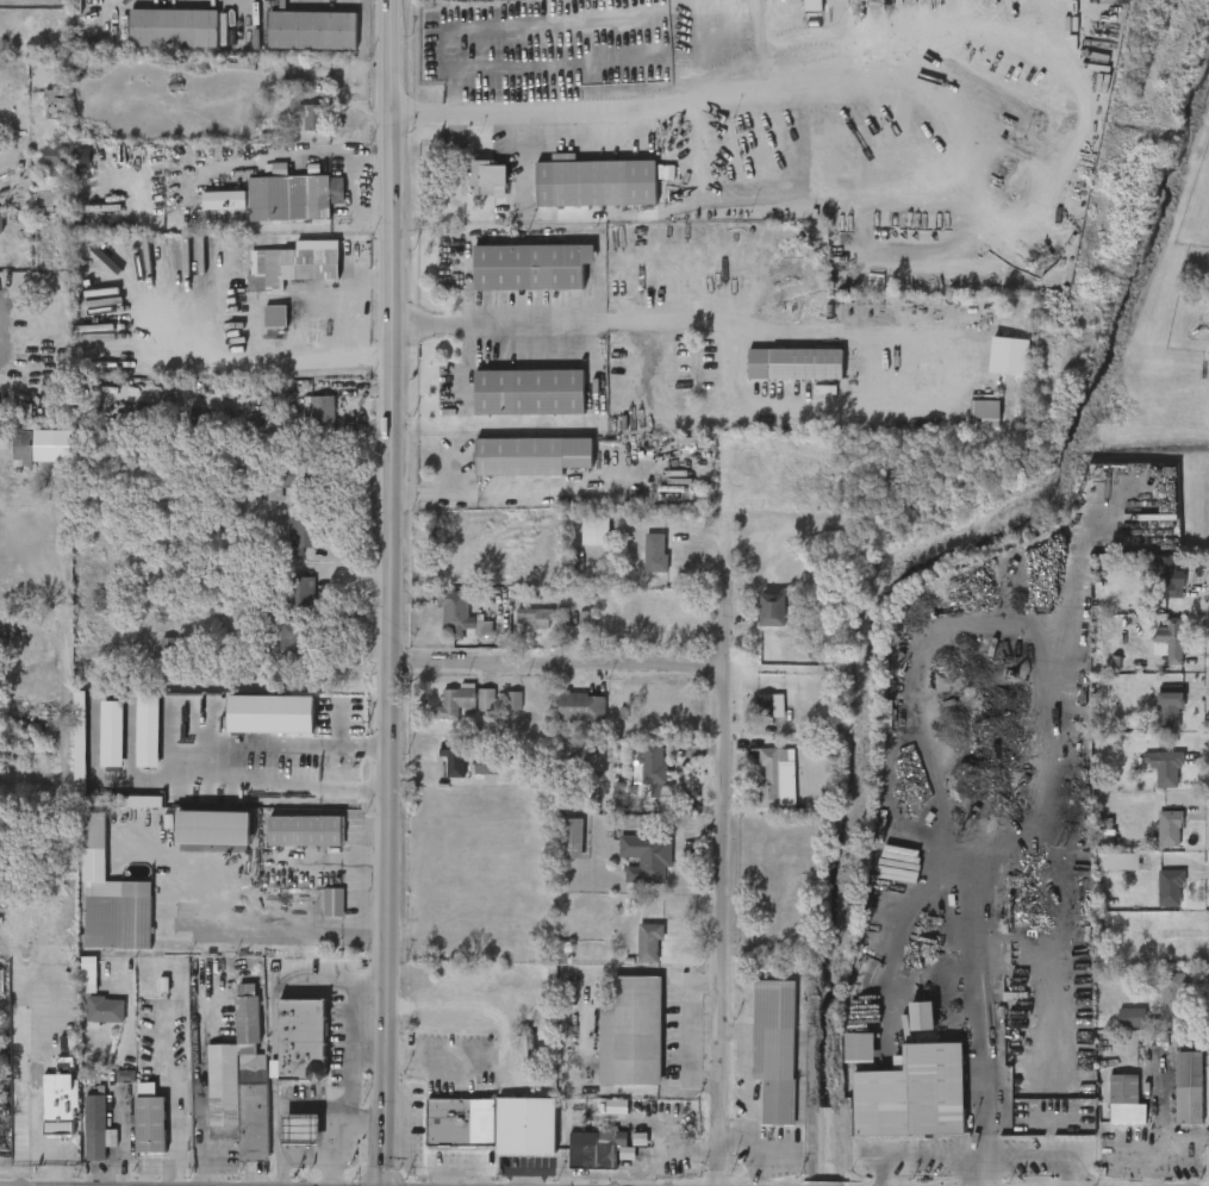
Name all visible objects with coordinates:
building: (812, 7)
building: (174, 29)
building: (313, 31)
road: (750, 58)
building: (808, 75)
building: (56, 105)
building: (309, 114)
building: (56, 156)
building: (485, 177)
building: (594, 185)
building: (51, 195)
building: (276, 198)
road: (603, 214)
building: (0, 225)
building: (297, 262)
building: (532, 267)
road: (355, 314)
building: (275, 316)
road: (759, 327)
building: (1009, 356)
road: (250, 358)
building: (803, 366)
building: (677, 368)
building: (531, 392)
building: (983, 411)
building: (319, 413)
building: (27, 448)
building: (534, 454)
building: (294, 476)
road: (497, 488)
building: (596, 531)
building: (301, 535)
building: (655, 553)
building: (1167, 574)
building: (298, 592)
road: (393, 593)
building: (773, 610)
building: (461, 616)
building: (534, 619)
building: (585, 619)
building: (1171, 638)
building: (297, 641)
building: (167, 653)
road: (562, 666)
building: (1171, 688)
building: (475, 701)
building: (764, 706)
building: (581, 707)
building: (1169, 710)
building: (272, 714)
building: (148, 730)
building: (112, 734)
building: (80, 743)
building: (454, 759)
building: (653, 763)
building: (486, 764)
road: (231, 766)
building: (1165, 767)
building: (769, 778)
building: (213, 828)
building: (1169, 828)
building: (305, 831)
building: (568, 838)
road: (728, 855)
building: (646, 859)
building: (1118, 862)
building: (1170, 888)
building: (111, 898)
building: (332, 904)
road: (256, 923)
building: (650, 943)
building: (51, 953)
building: (88, 975)
building: (1, 980)
building: (1172, 992)
road: (978, 1006)
building: (102, 1007)
building: (917, 1016)
building: (1136, 1018)
road: (347, 1030)
road: (688, 1031)
building: (632, 1032)
building: (301, 1038)
building: (856, 1048)
building: (778, 1050)
road: (434, 1054)
building: (125, 1076)
building: (239, 1081)
building: (1189, 1088)
building: (910, 1094)
building: (58, 1103)
building: (1124, 1103)
building: (617, 1107)
road: (345, 1117)
building: (150, 1123)
road: (199, 1123)
building: (445, 1123)
building: (480, 1123)
building: (93, 1125)
building: (301, 1126)
gas station: (301, 1126)
road: (174, 1128)
building: (524, 1128)
road: (27, 1138)
building: (597, 1148)
road: (121, 1150)
road: (669, 1153)
road: (305, 1154)
road: (915, 1155)
road: (1041, 1155)
road: (984, 1171)

